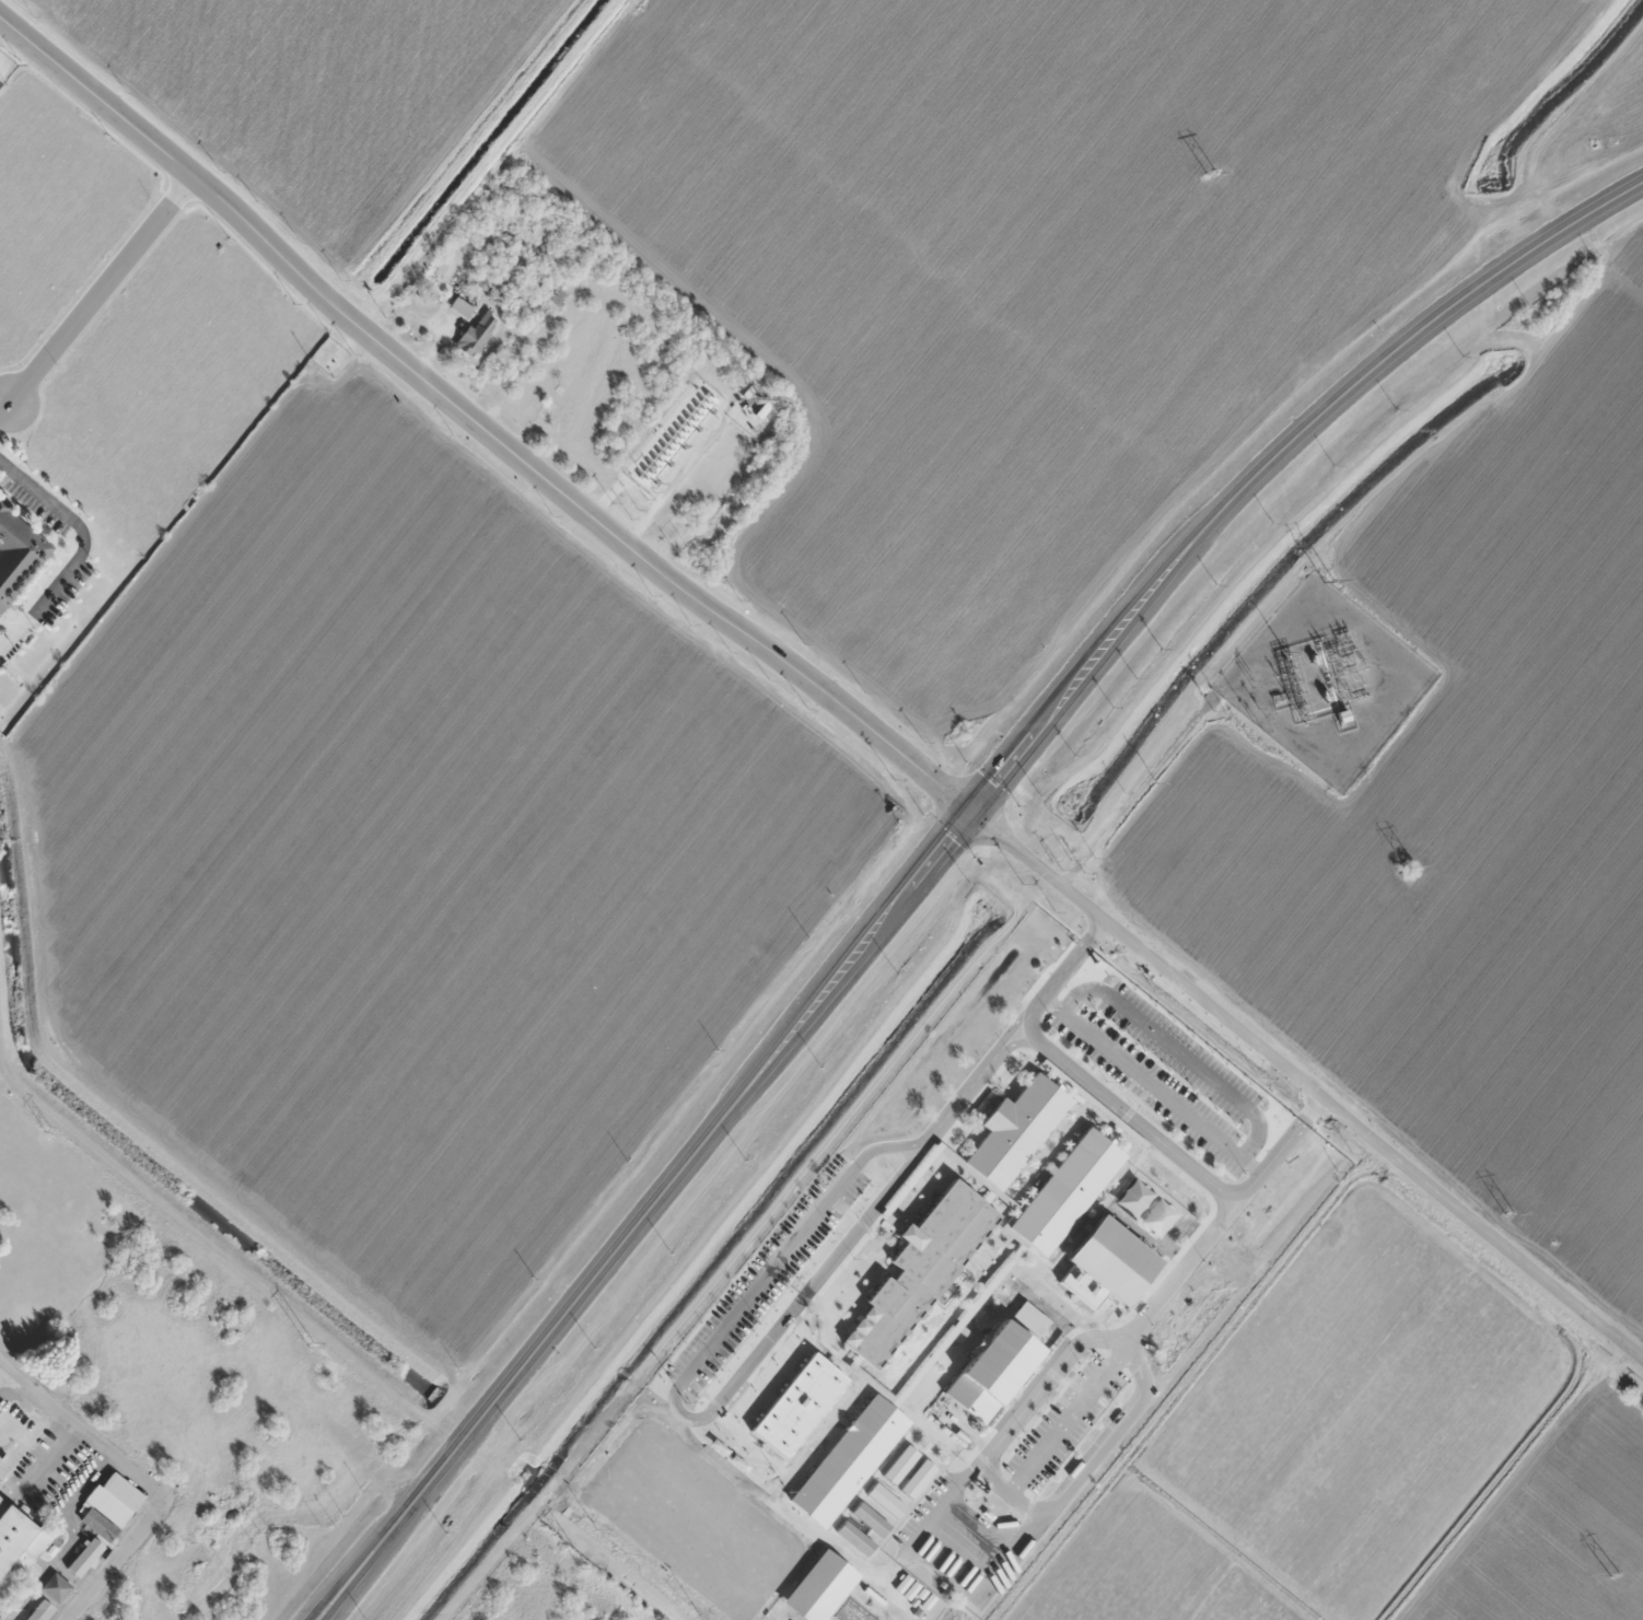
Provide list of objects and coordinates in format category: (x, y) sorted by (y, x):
crop: (310, 92)
power tower: (1212, 173)
building: (462, 306)
road: (1448, 313)
building: (557, 406)
road: (475, 429)
building: (18, 555)
power tower: (1329, 580)
power substation: (1326, 680)
traffic signals: (975, 809)
crop: (1467, 813)
power tower: (1411, 864)
road: (790, 1037)
road: (975, 1081)
road: (1152, 1083)
road: (1308, 1083)
building: (931, 1106)
road: (1128, 1115)
building: (947, 1119)
power tower: (48, 1128)
building: (1016, 1129)
building: (914, 1144)
road: (886, 1145)
building: (1065, 1189)
road: (815, 1213)
power tower: (1511, 1213)
road: (847, 1240)
road: (1187, 1263)
building: (920, 1269)
power tower: (311, 1344)
building: (992, 1368)
road: (1046, 1379)
building: (823, 1386)
road: (679, 1389)
building: (807, 1406)
road: (1072, 1412)
building: (848, 1458)
road: (1087, 1460)
road: (137, 1479)
building: (109, 1505)
road: (937, 1512)
road: (797, 1520)
building: (19, 1537)
building: (82, 1560)
power tower: (583, 1565)
road: (863, 1566)
power tower: (1615, 1575)
building: (820, 1586)
building: (56, 1587)
building: (39, 1612)

